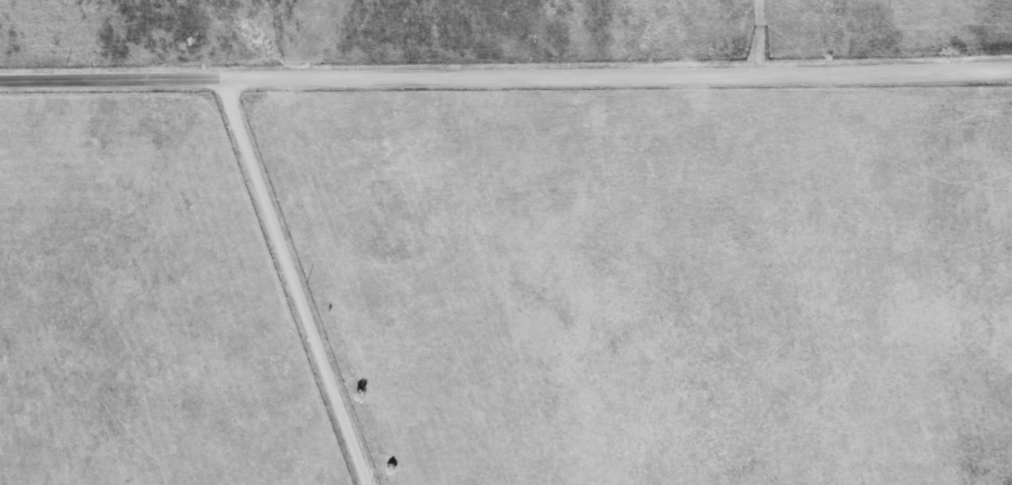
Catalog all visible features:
road: (506, 74)
road: (293, 281)

